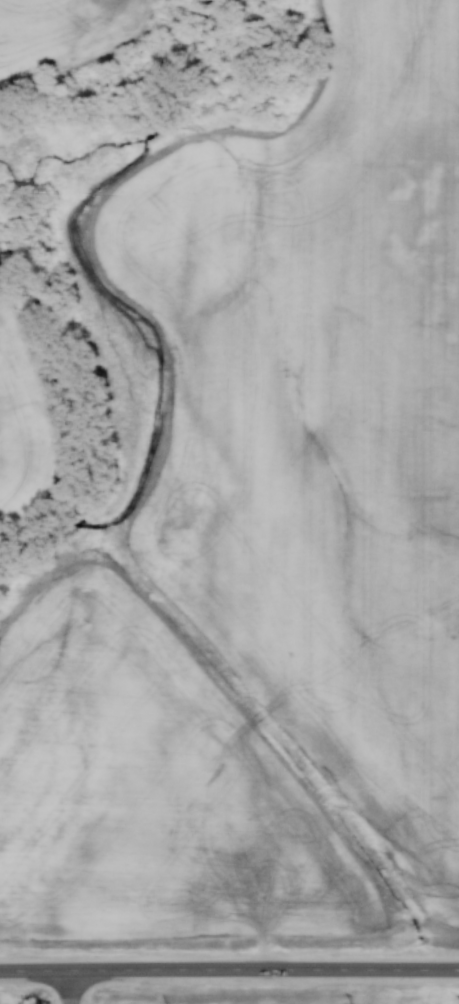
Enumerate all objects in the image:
road: (229, 970)
road: (72, 986)
park: (36, 1002)
road: (71, 1002)

